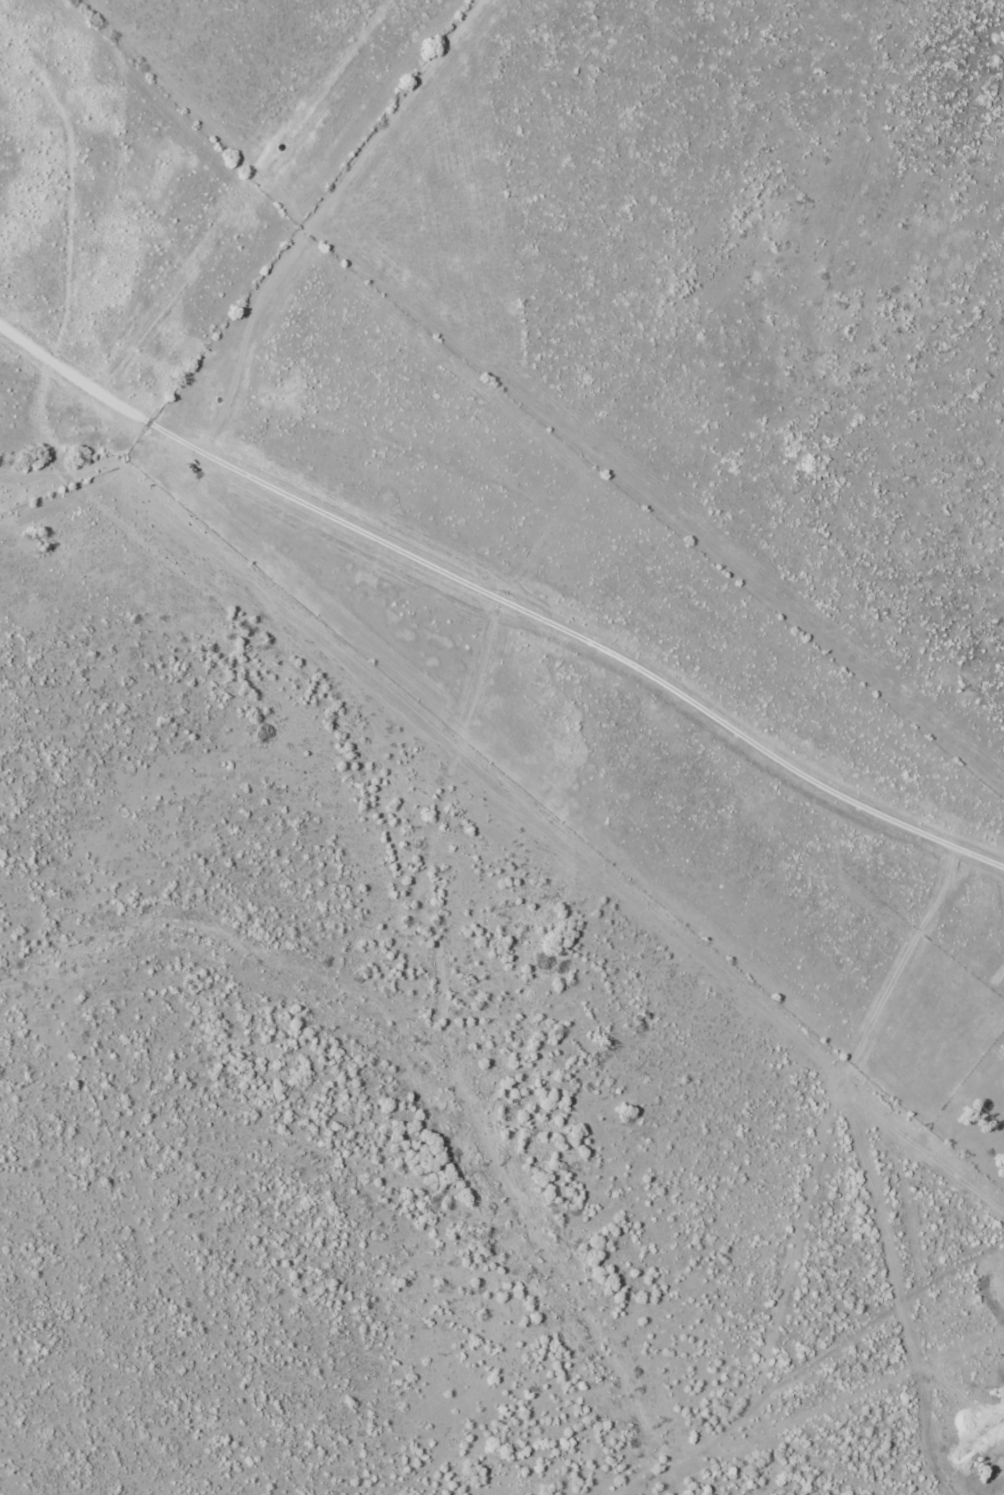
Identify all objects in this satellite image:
road: (498, 644)
building: (995, 1406)
building: (961, 1438)

